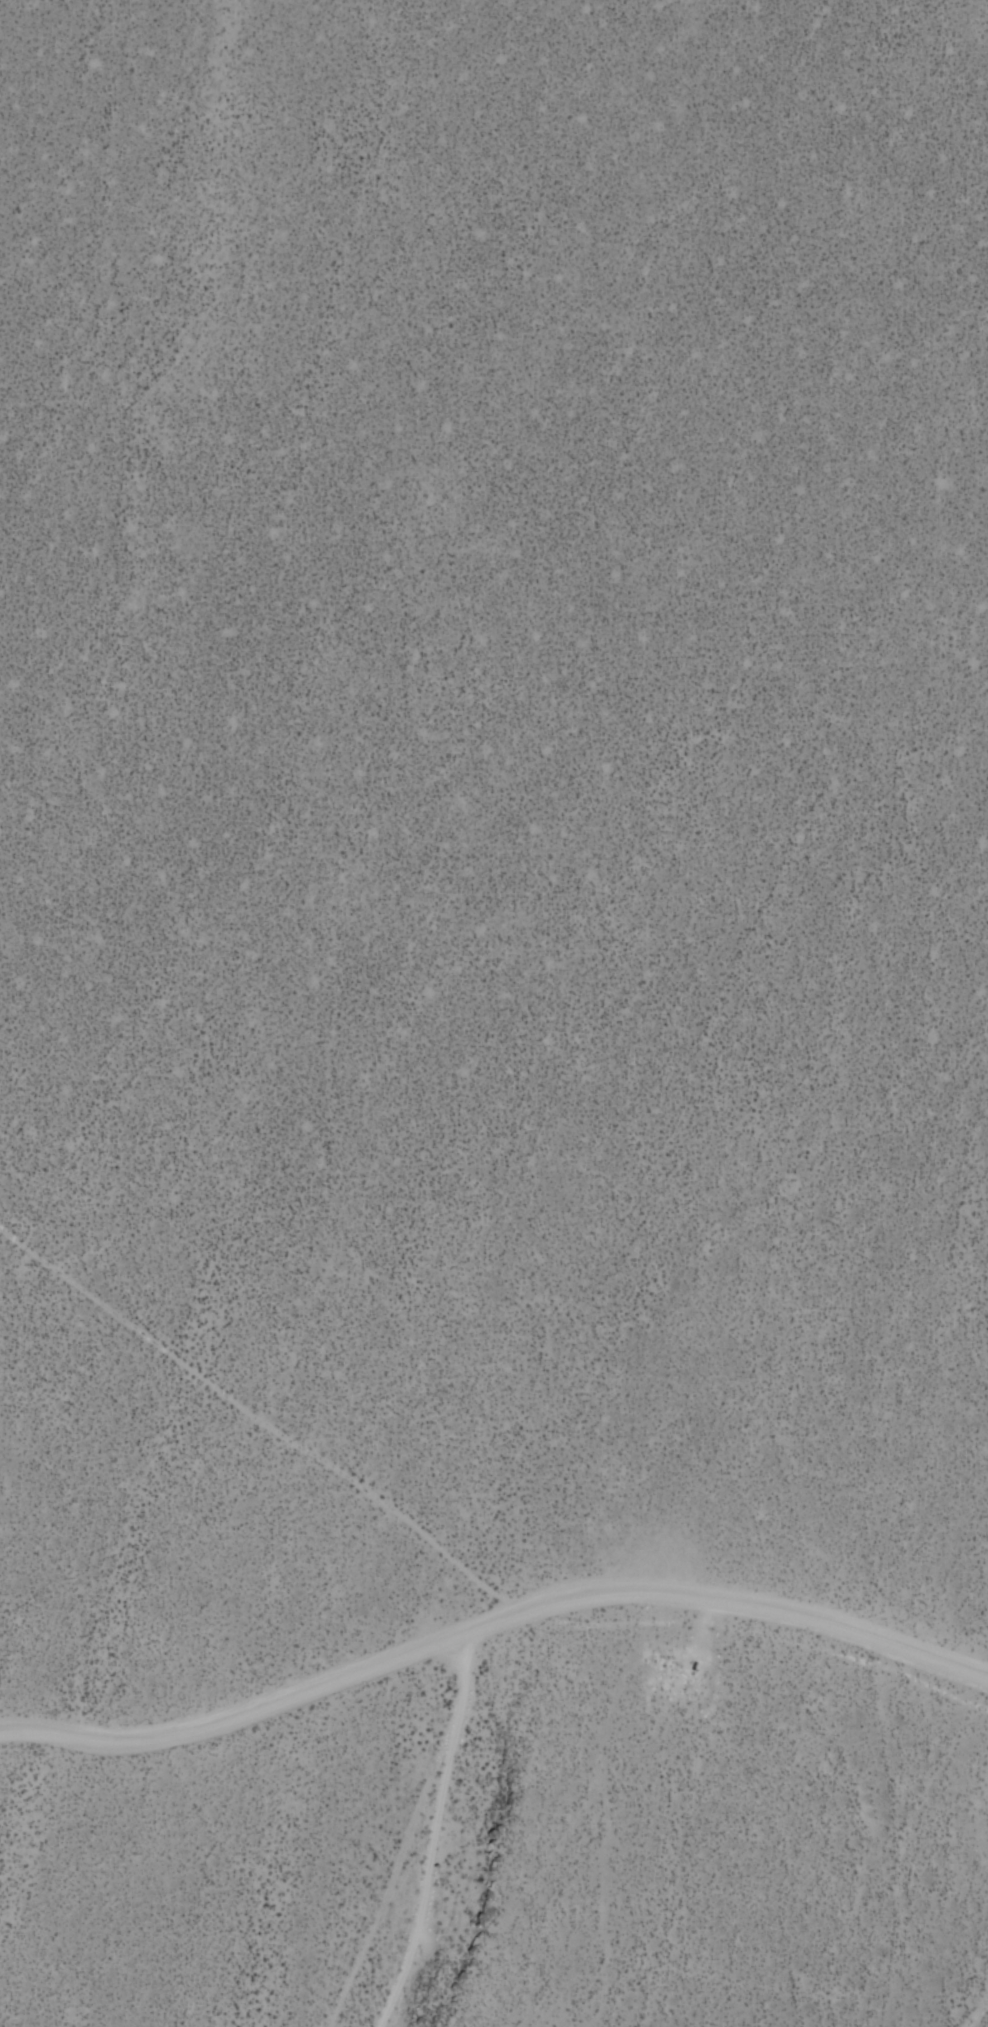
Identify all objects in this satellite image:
road: (263, 1420)
road: (493, 1624)
road: (430, 1827)
road: (392, 1865)

